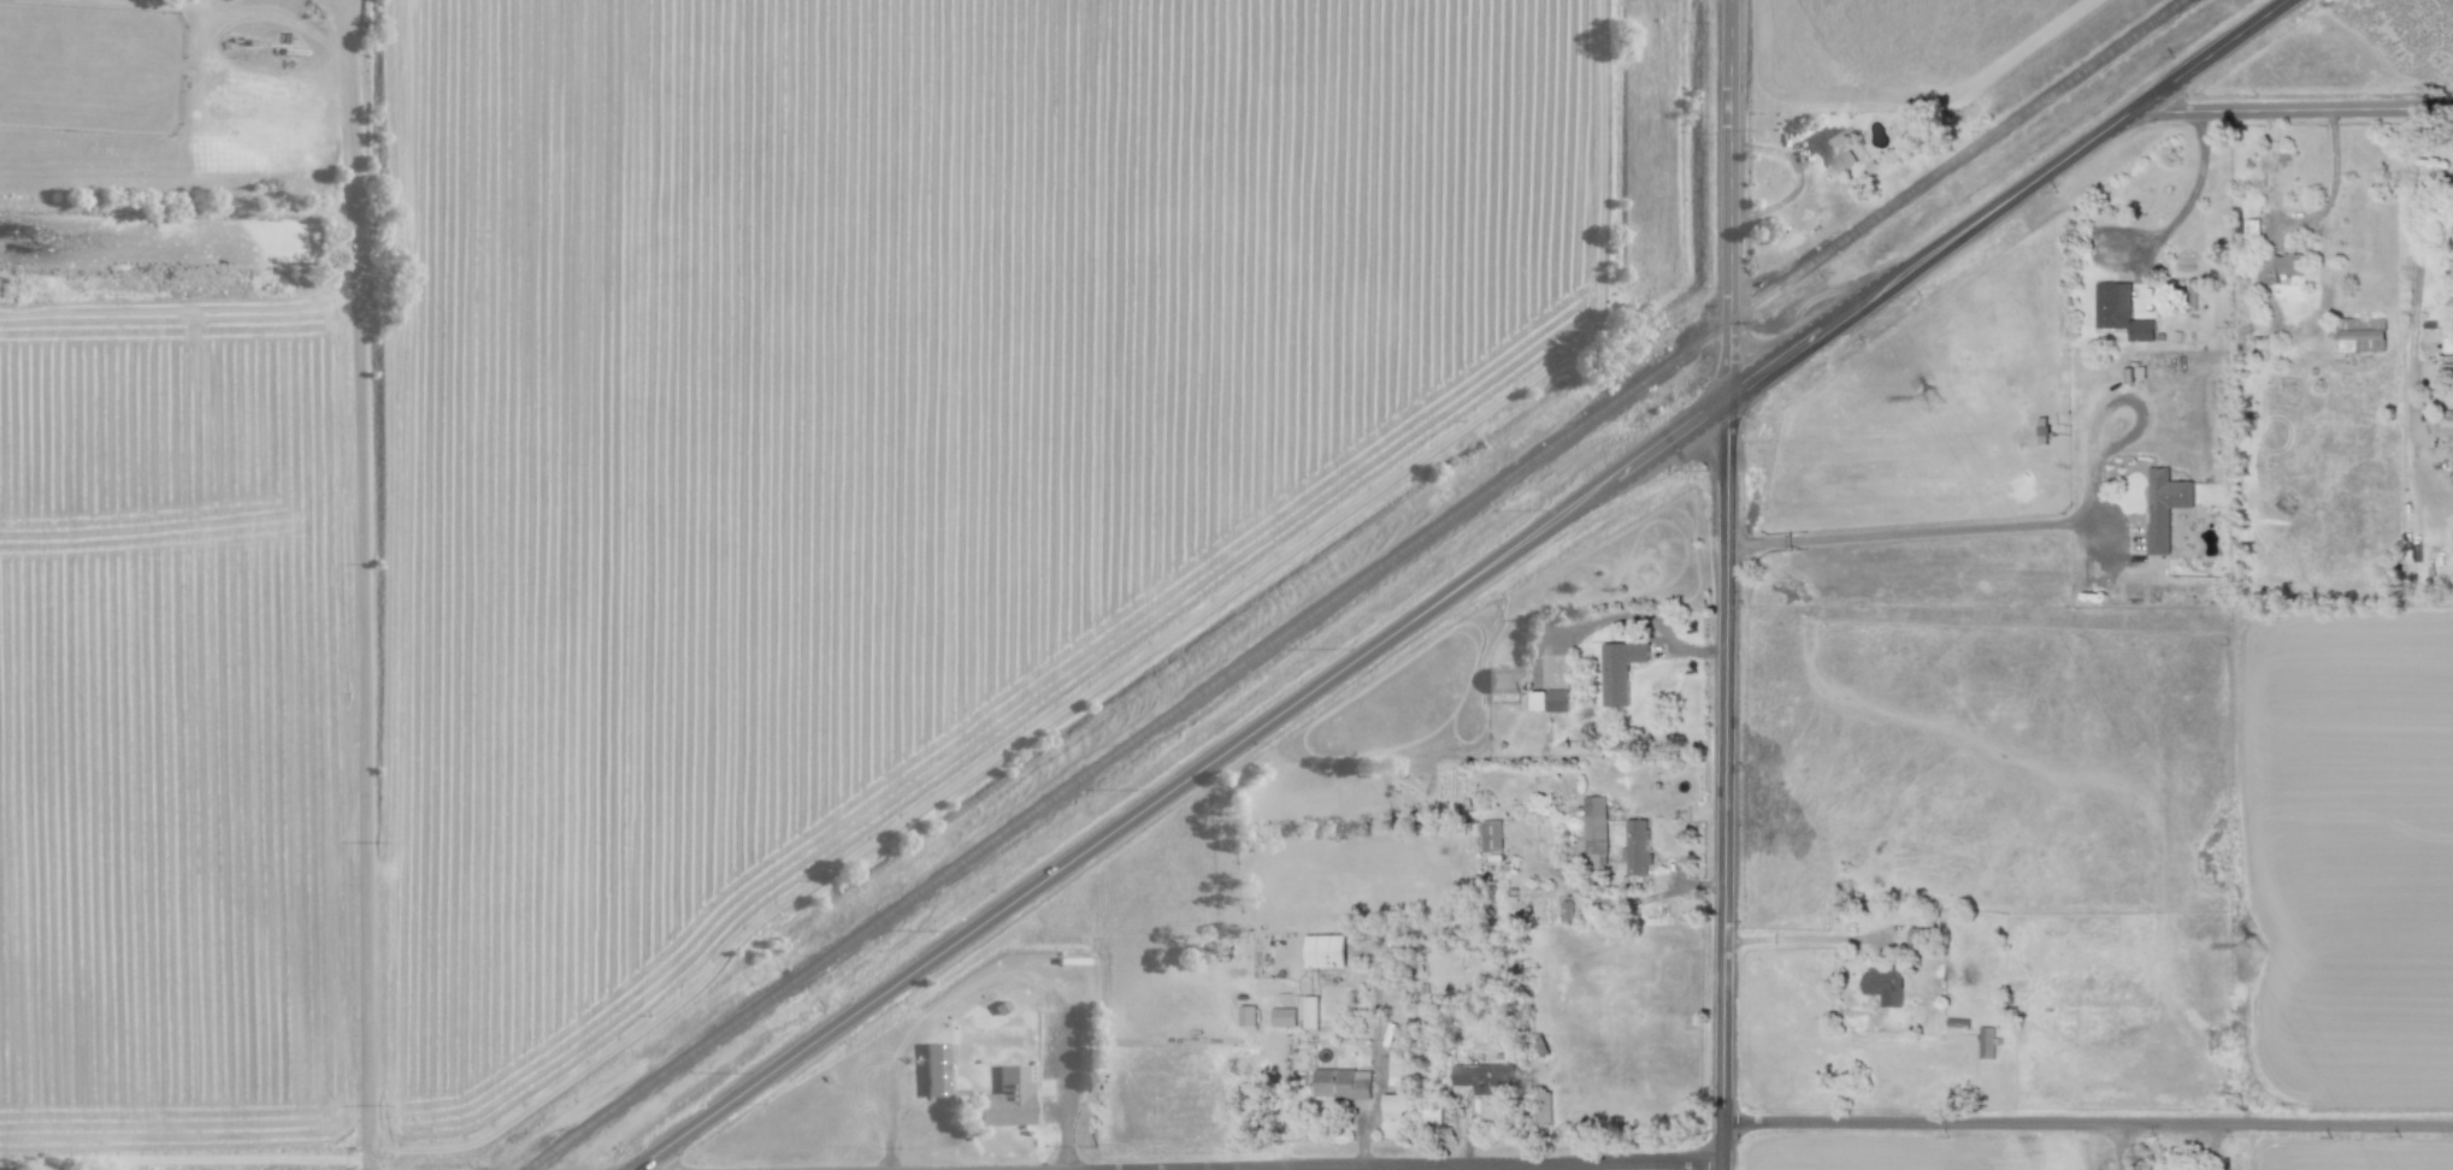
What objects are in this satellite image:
road: (2293, 110)
building: (1839, 148)
road: (2333, 184)
road: (2190, 196)
building: (2251, 227)
building: (2280, 266)
building: (2189, 294)
building: (2121, 312)
building: (2361, 335)
building: (2448, 345)
power tower: (1920, 398)
building: (2164, 506)
road: (2023, 524)
road: (364, 584)
railway: (1357, 585)
road: (1464, 585)
road: (1730, 585)
building: (1620, 669)
building: (1503, 680)
building: (1549, 701)
building: (1594, 823)
building: (1491, 835)
building: (1638, 846)
building: (1567, 910)
building: (1918, 935)
building: (1325, 951)
power tower: (2247, 951)
road: (996, 975)
building: (1883, 985)
building: (1310, 1011)
building: (1246, 1015)
building: (1284, 1017)
building: (1986, 1041)
building: (934, 1069)
building: (1397, 1070)
building: (1485, 1076)
building: (1342, 1083)
building: (1006, 1099)
building: (1394, 1105)
building: (1432, 1107)
building: (1541, 1107)
road: (2089, 1123)
road: (1445, 1164)
road: (1491, 1166)
road: (1217, 1169)

